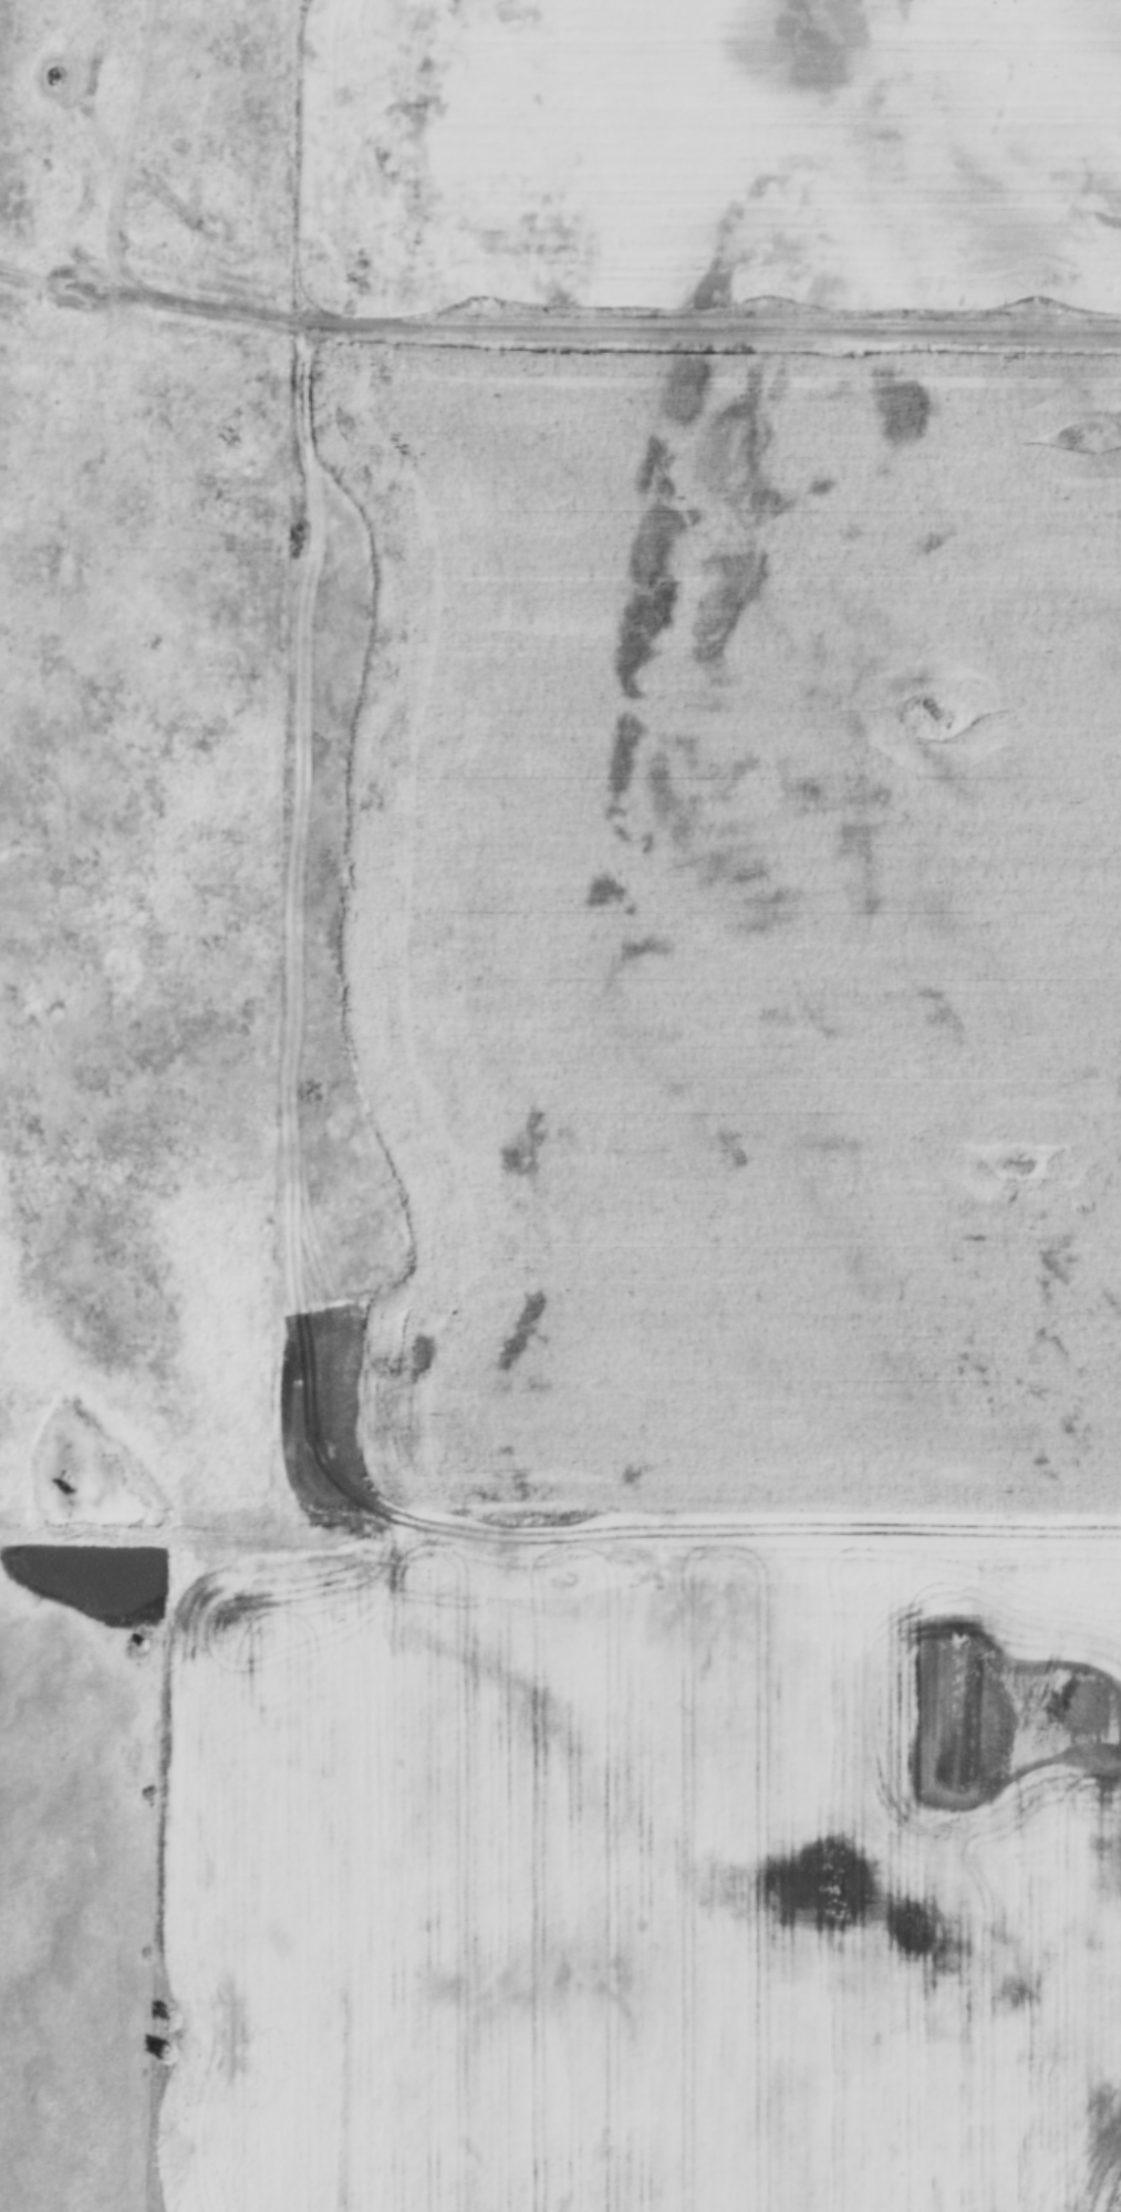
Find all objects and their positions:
road: (558, 326)

